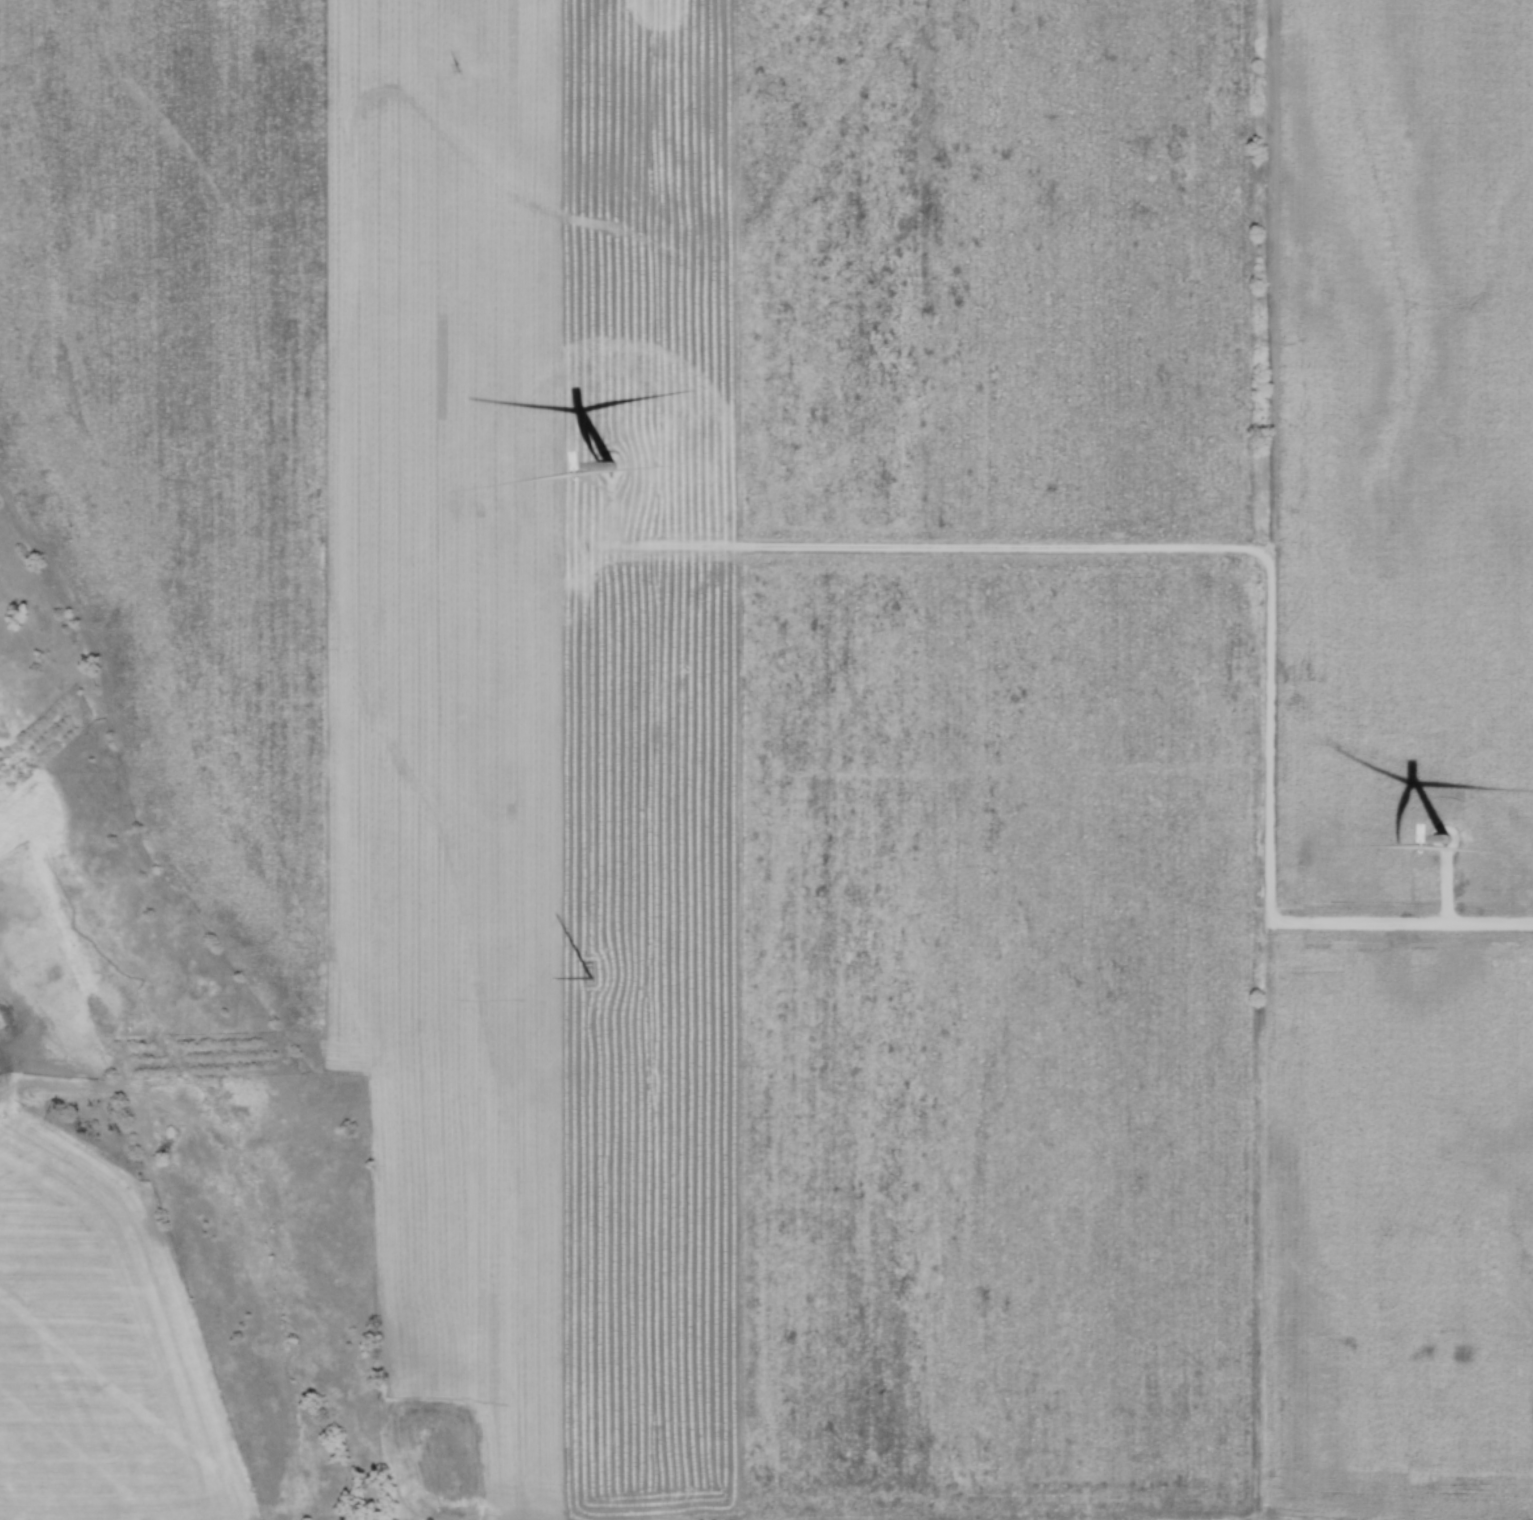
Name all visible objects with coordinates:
wind turbine: (609, 465)
wind turbine: (1444, 836)

